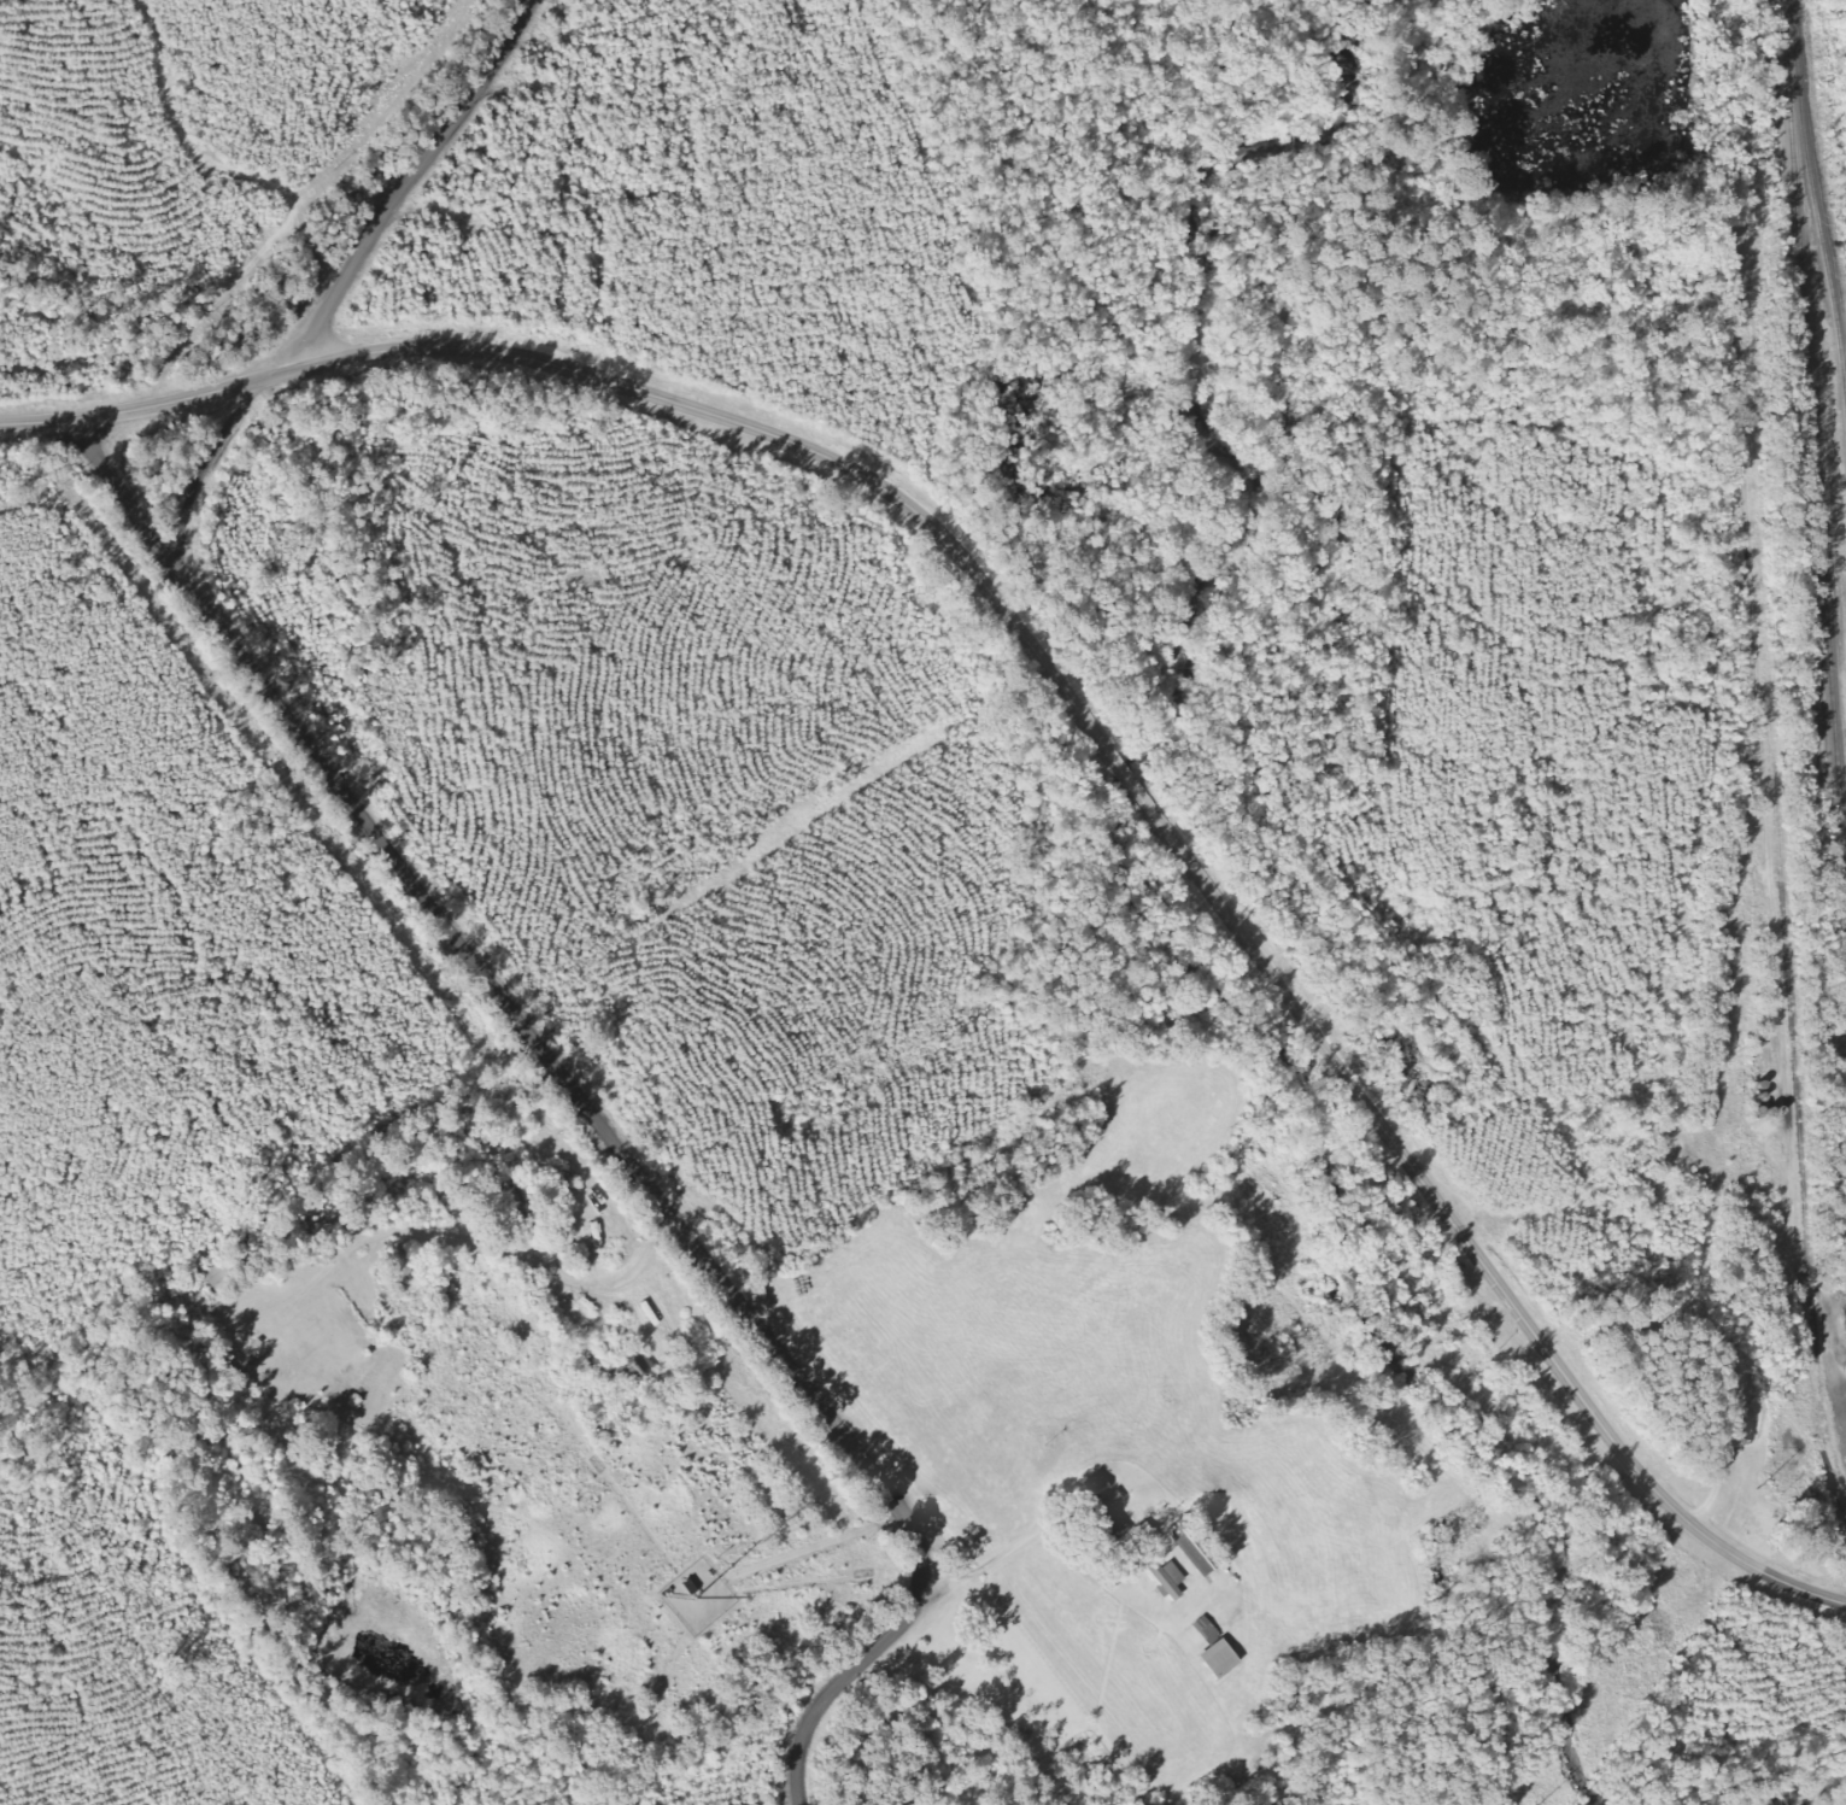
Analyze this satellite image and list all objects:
road: (389, 189)
railway: (1818, 223)
railway: (1812, 453)
road: (123, 496)
road: (1068, 704)
railway: (1768, 763)
road: (574, 1090)
building: (1170, 1578)
building: (1224, 1658)

